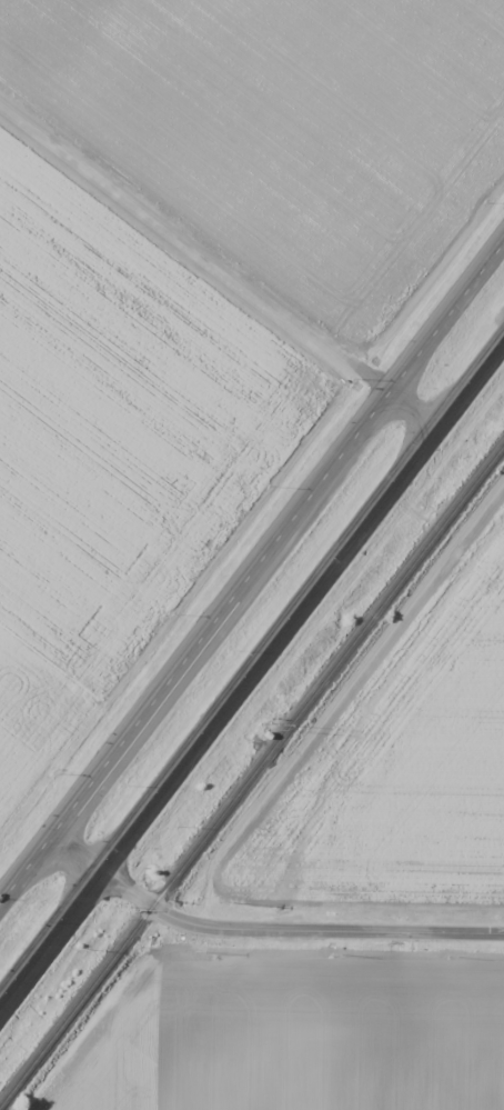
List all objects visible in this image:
road: (220, 261)
road: (251, 581)
road: (253, 684)
railway: (252, 773)
road: (268, 930)

